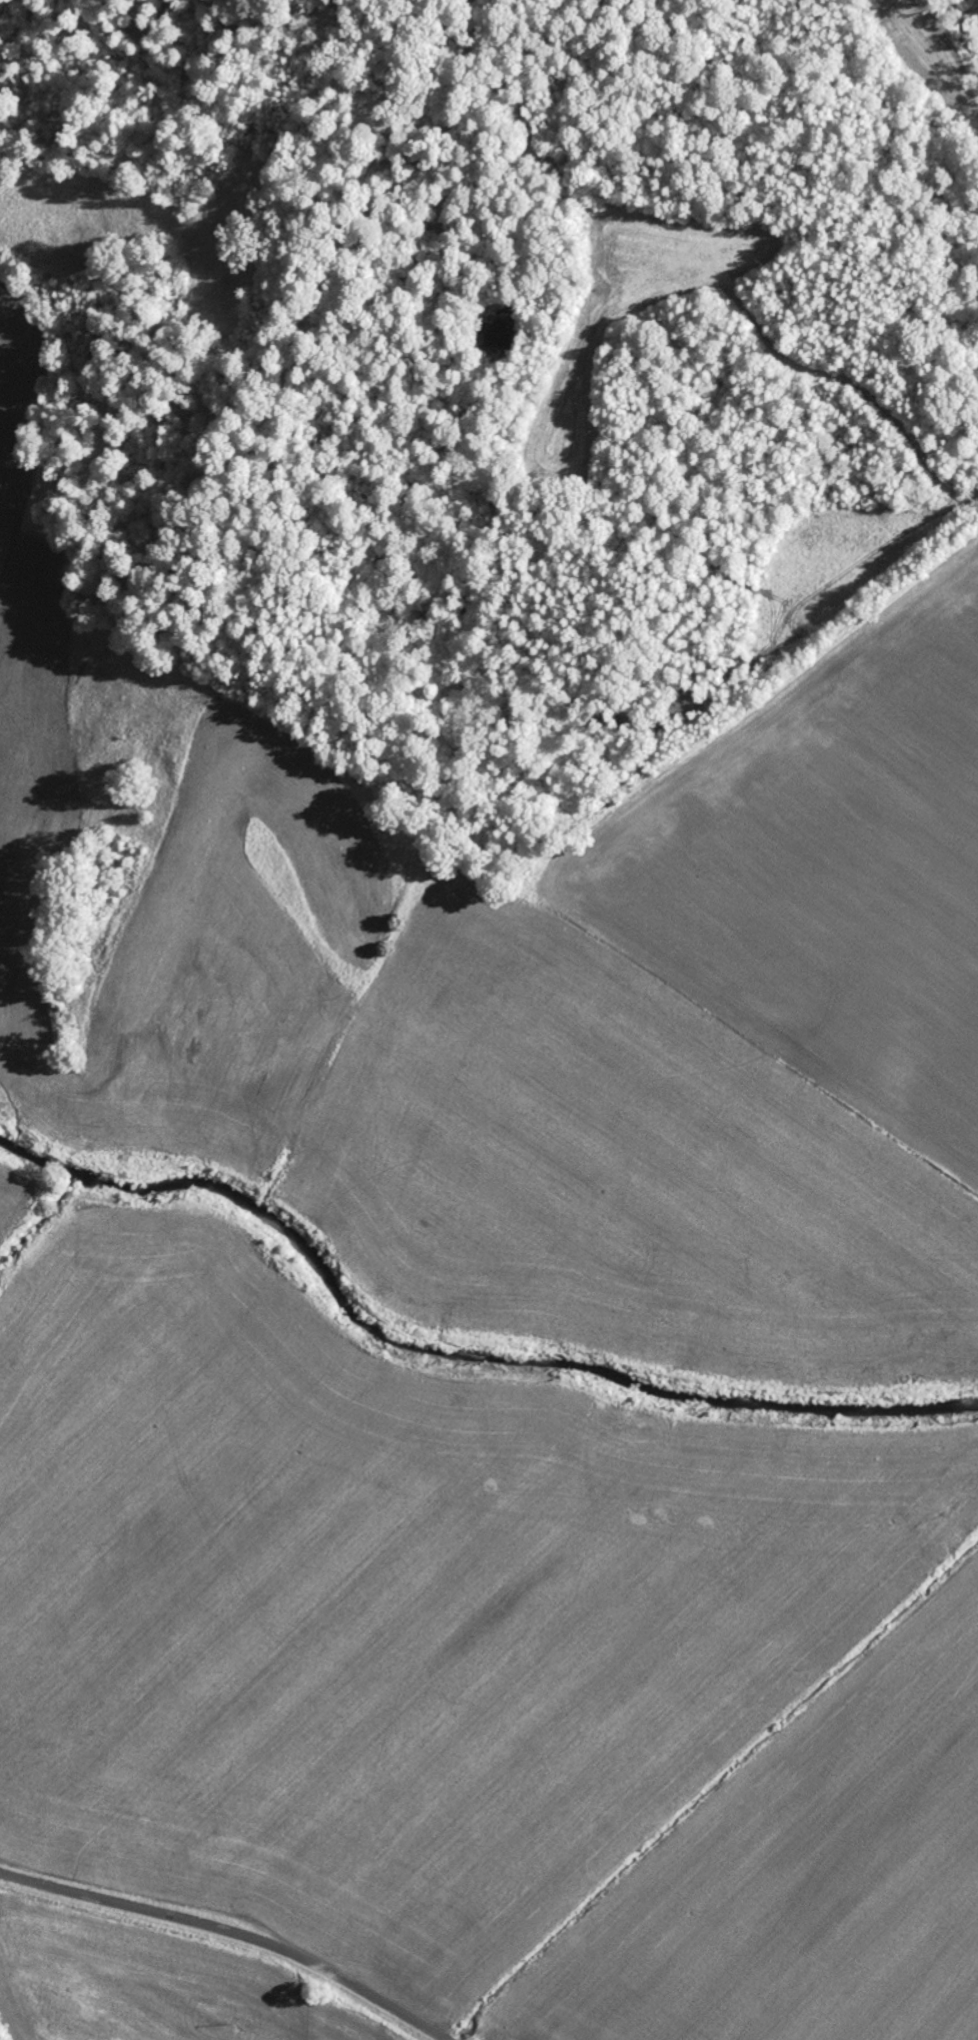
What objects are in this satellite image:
road: (230, 1934)

